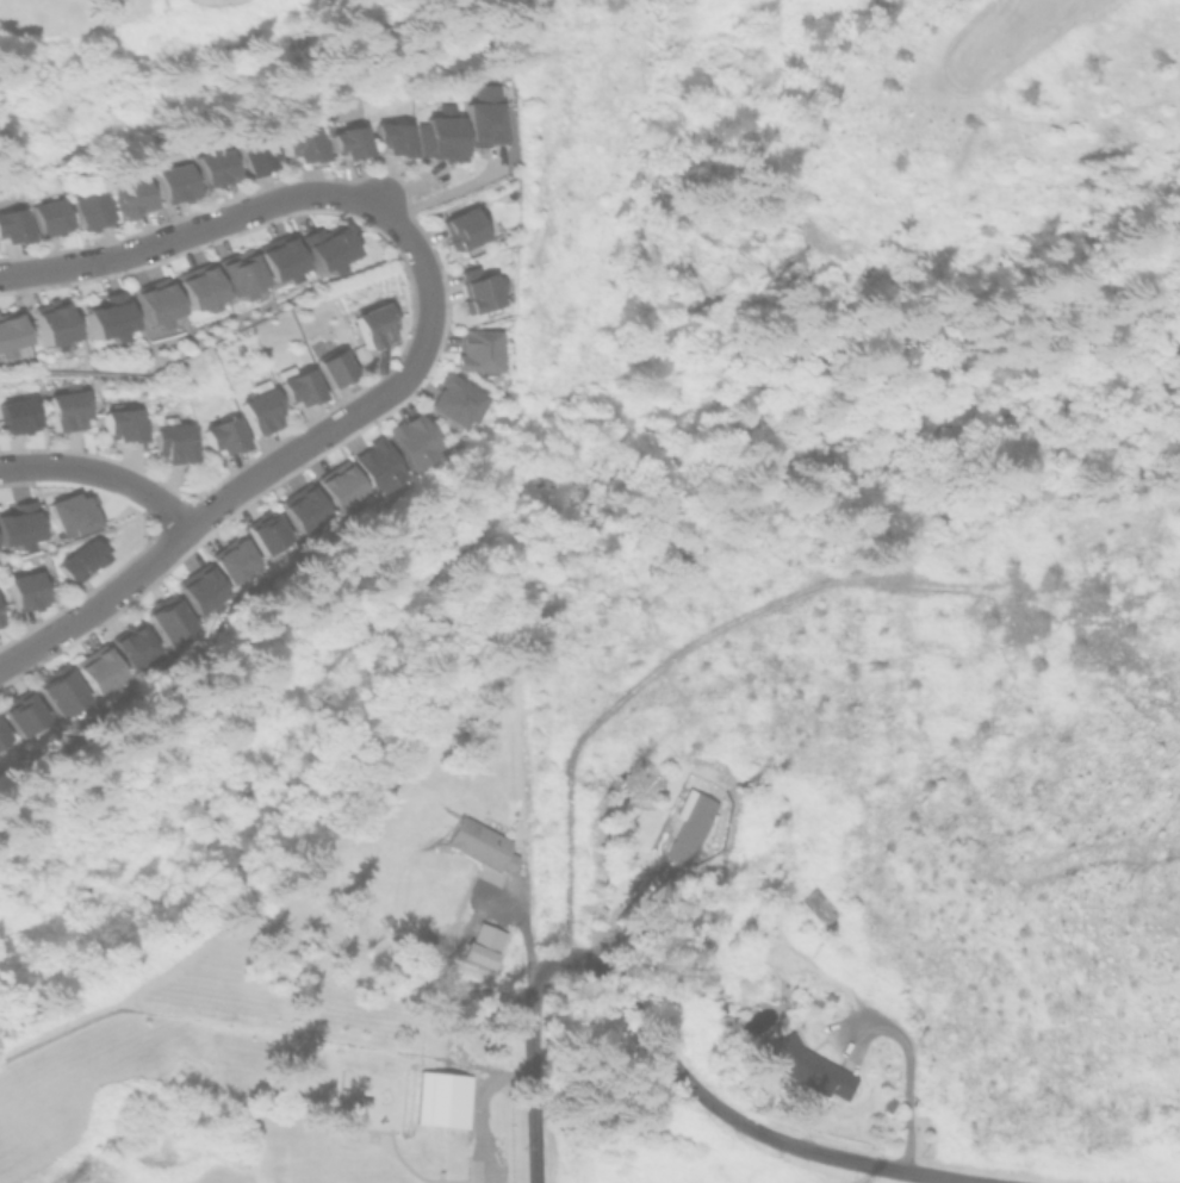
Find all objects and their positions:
building: (489, 116)
building: (448, 136)
building: (395, 141)
building: (348, 147)
building: (304, 148)
building: (260, 161)
building: (218, 170)
building: (175, 185)
building: (133, 200)
building: (93, 212)
building: (49, 219)
building: (461, 229)
building: (12, 230)
road: (400, 232)
building: (323, 248)
building: (277, 257)
building: (235, 273)
building: (194, 286)
building: (480, 293)
building: (151, 303)
building: (103, 316)
building: (373, 325)
building: (7, 330)
building: (50, 330)
building: (482, 349)
building: (333, 367)
building: (298, 387)
building: (457, 400)
building: (259, 411)
building: (66, 412)
building: (15, 417)
building: (124, 428)
building: (222, 436)
building: (414, 440)
building: (172, 442)
building: (378, 466)
road: (99, 474)
building: (340, 487)
building: (304, 509)
building: (17, 523)
building: (266, 531)
building: (80, 560)
building: (25, 591)
road: (94, 602)
building: (168, 618)
building: (132, 645)
building: (98, 671)
building: (60, 691)
road: (605, 708)
building: (20, 712)
building: (1, 735)
building: (688, 827)
building: (479, 843)
building: (816, 904)
road: (523, 926)
building: (808, 1069)
road: (532, 1096)
road: (707, 1096)
building: (441, 1098)
road: (483, 1112)

